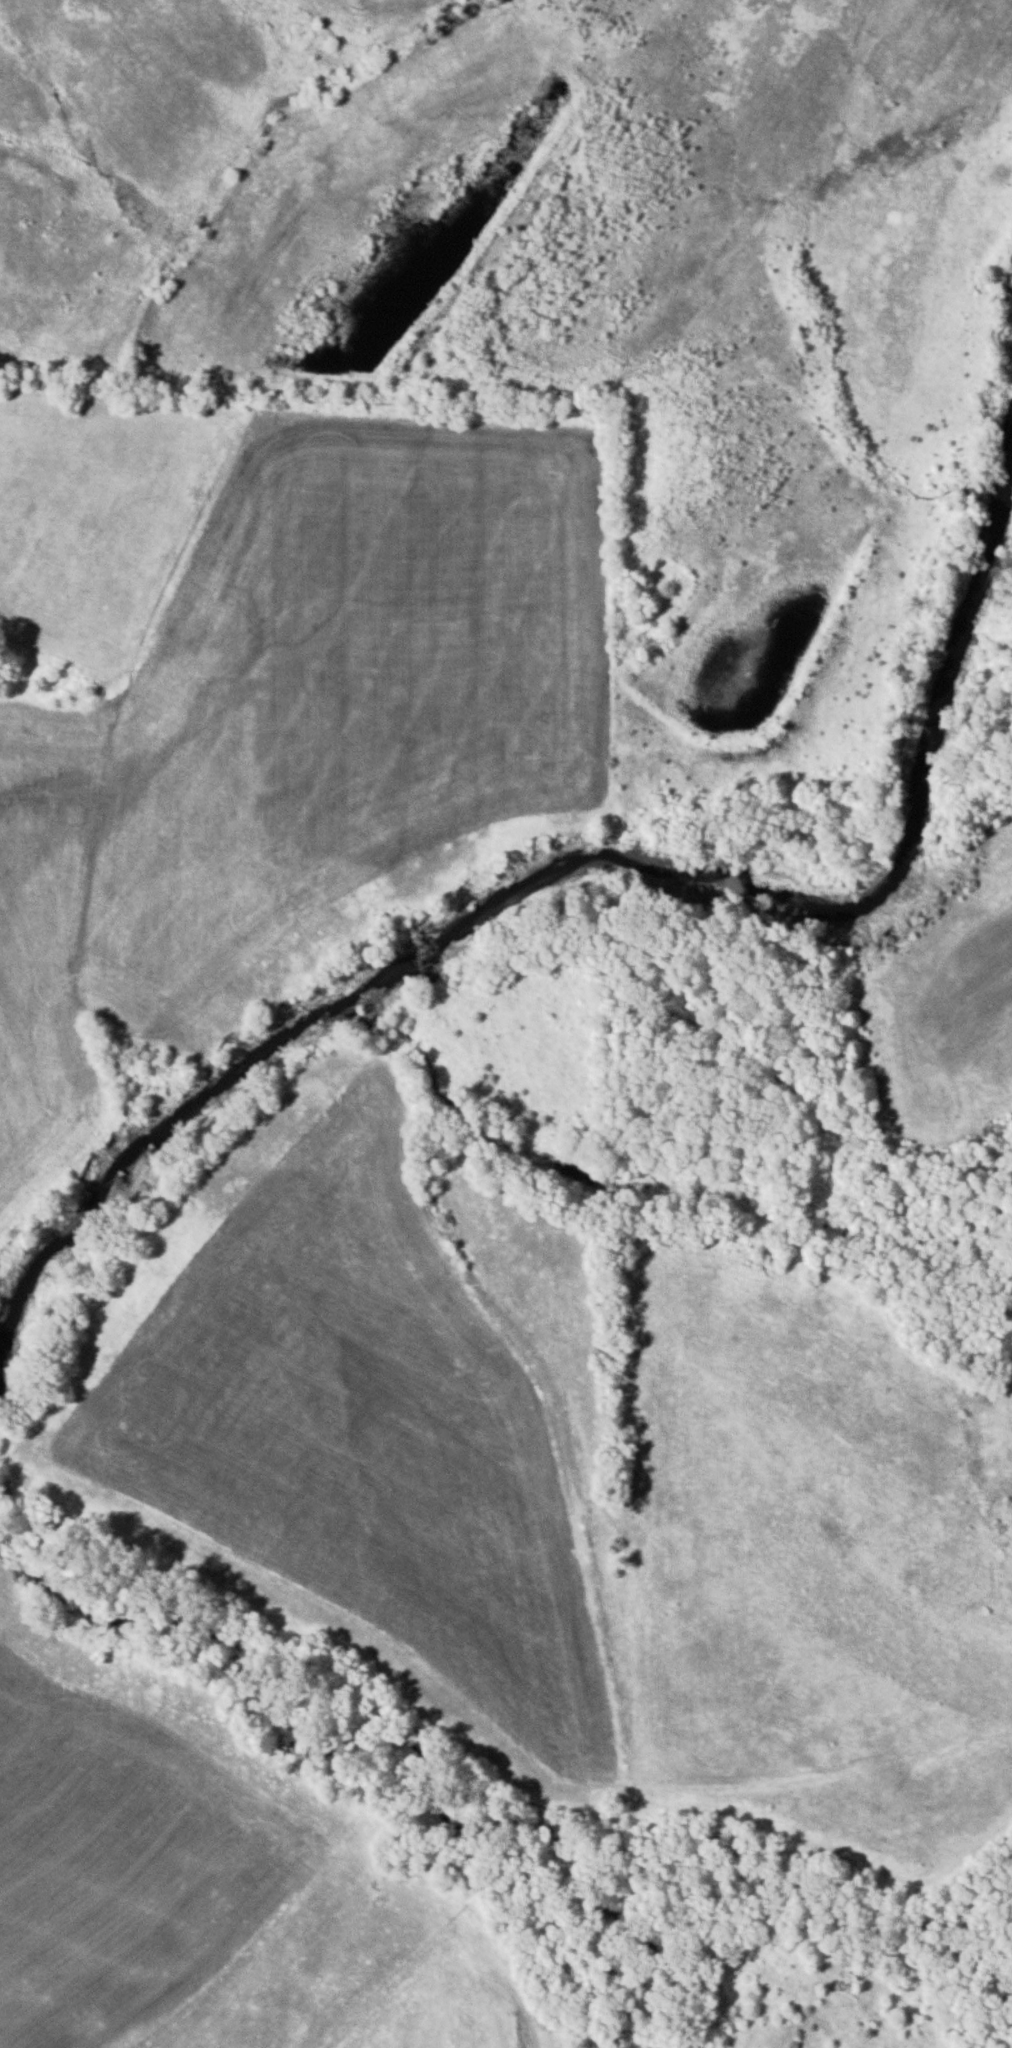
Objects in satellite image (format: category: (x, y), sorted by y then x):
river: (558, 870)

